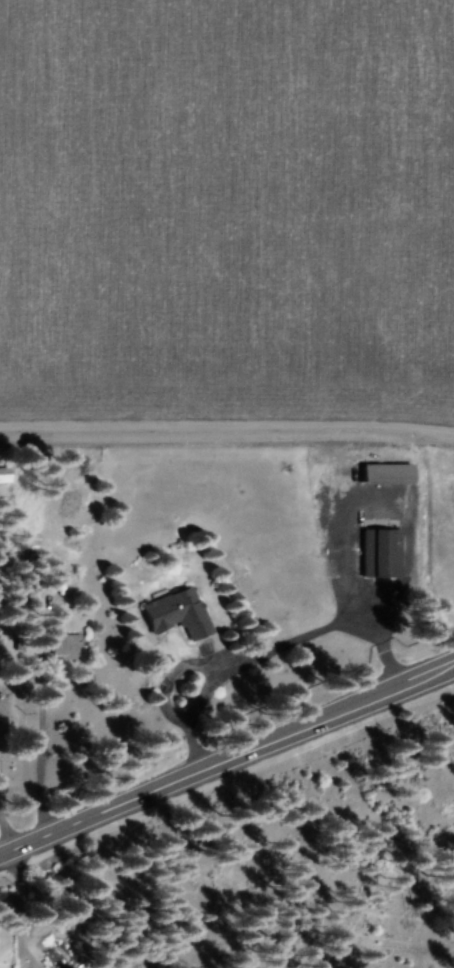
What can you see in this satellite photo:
building: (383, 475)
building: (3, 477)
building: (381, 555)
building: (175, 615)
building: (63, 648)
road: (227, 765)

